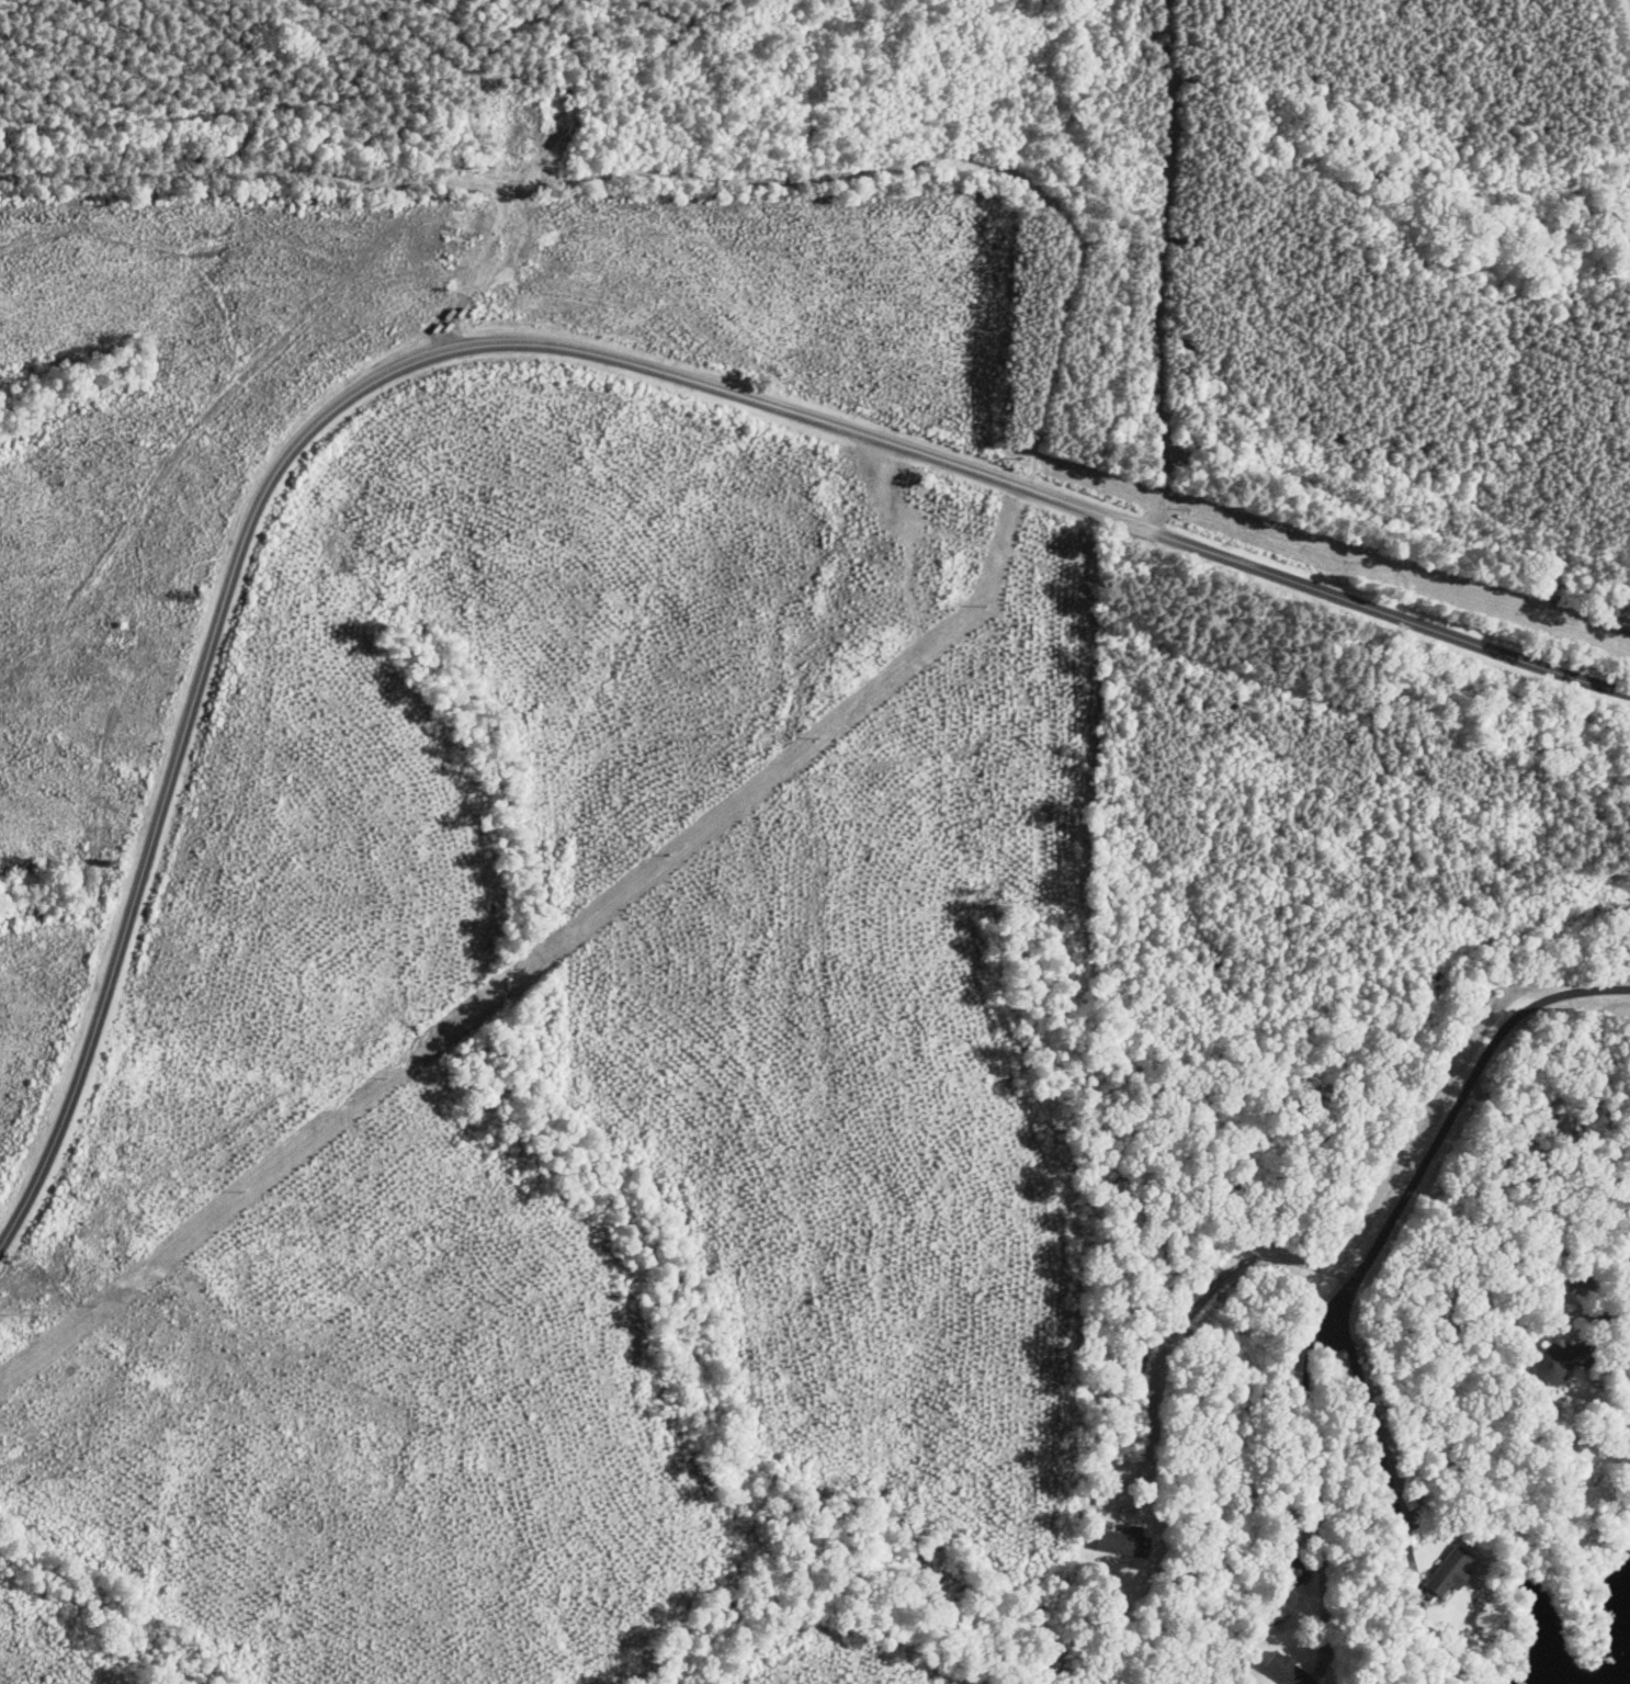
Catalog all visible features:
road: (542, 344)
road: (1453, 1115)
road: (1560, 1186)
building: (1125, 1541)
building: (1295, 1570)
building: (1451, 1571)
building: (1289, 1670)

